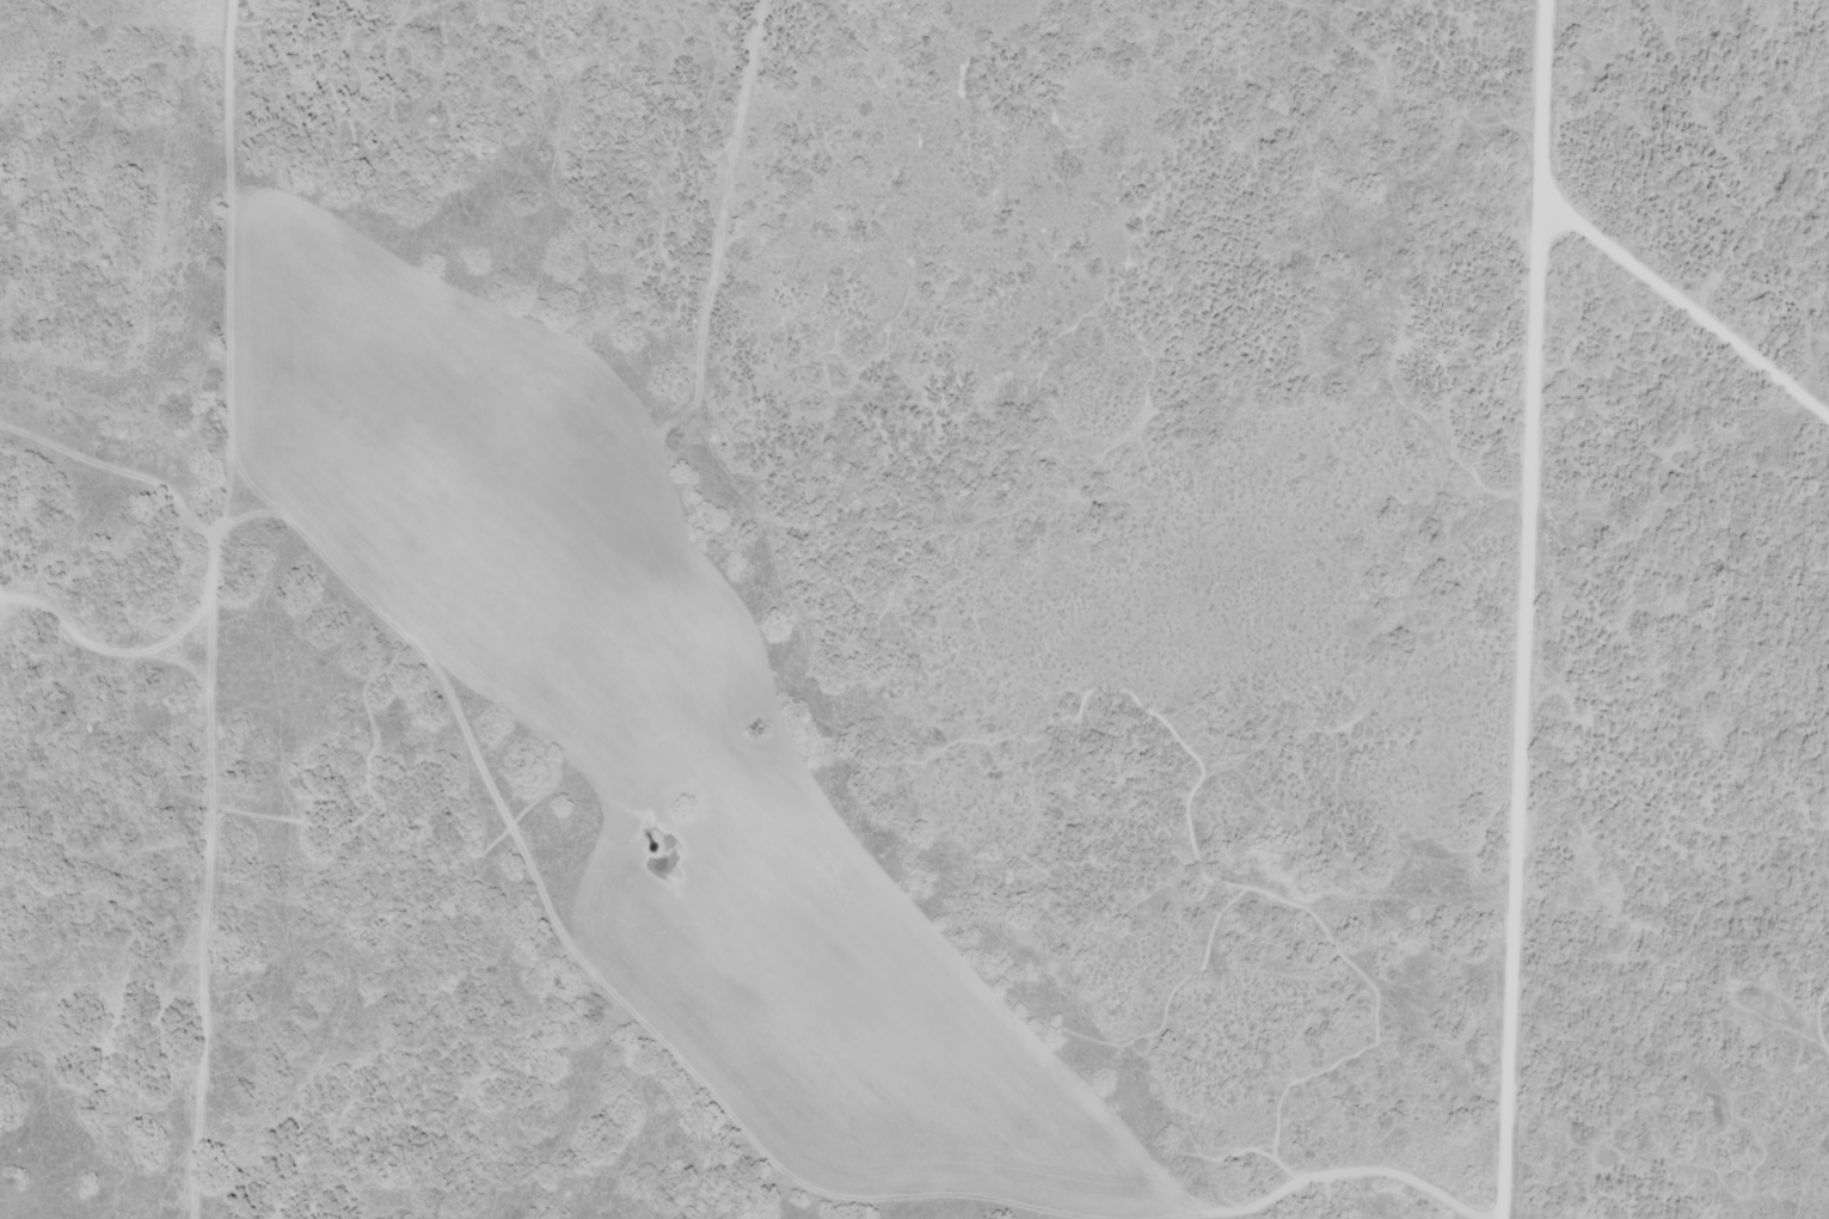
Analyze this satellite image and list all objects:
road: (173, 609)

